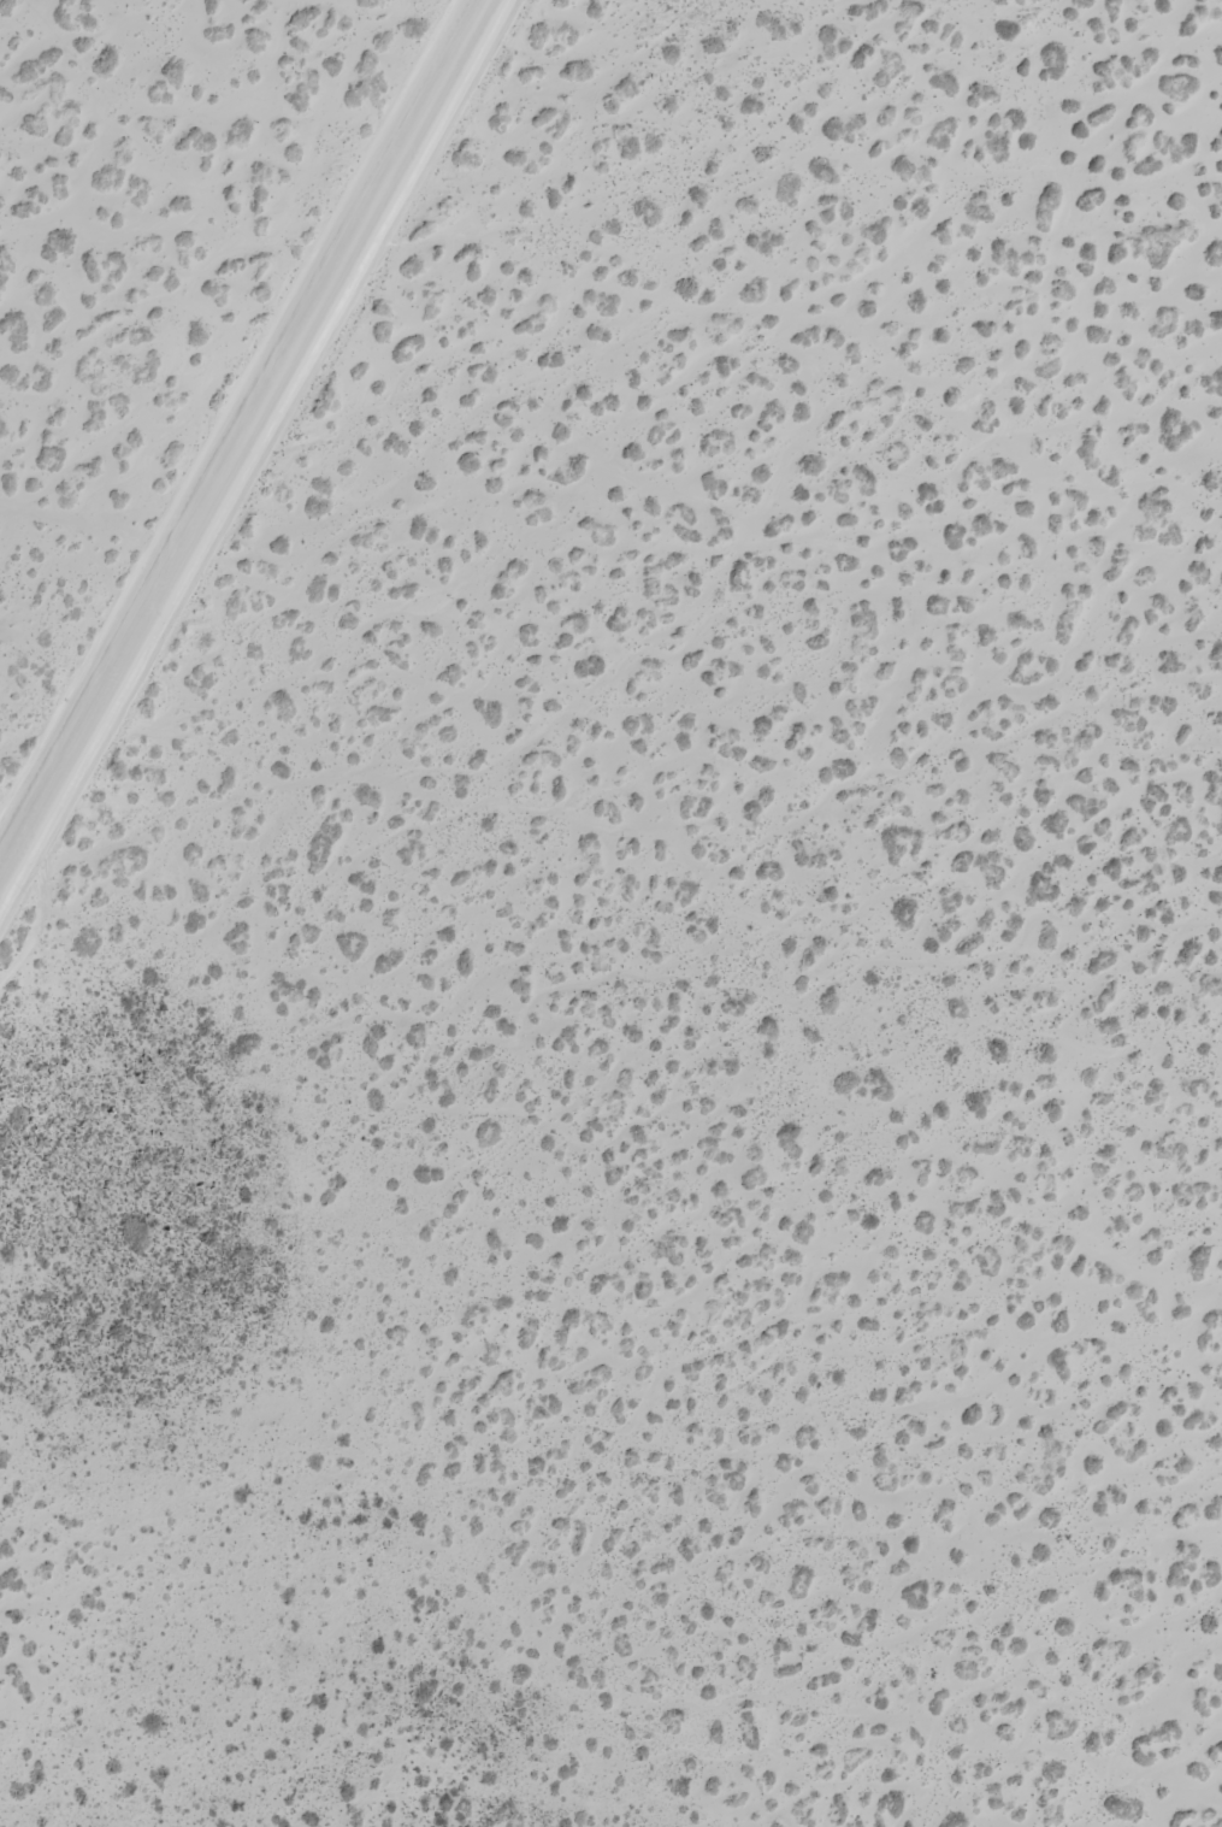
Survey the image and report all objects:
road: (241, 434)

